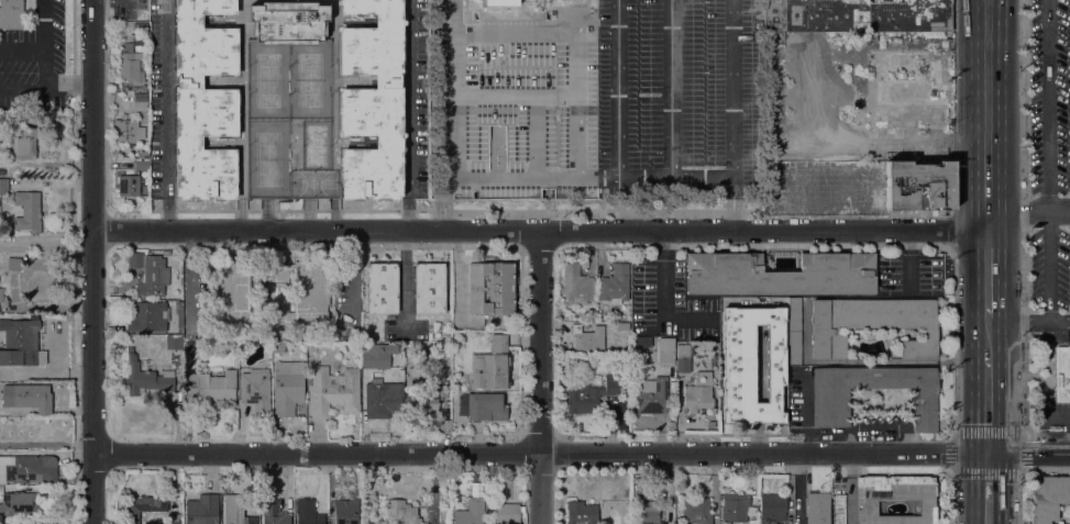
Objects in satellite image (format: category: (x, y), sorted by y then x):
road: (102, 0)
road: (119, 0)
building: (498, 2)
building: (11, 13)
building: (858, 15)
road: (580, 16)
building: (288, 22)
road: (516, 32)
building: (140, 34)
road: (580, 64)
road: (40, 66)
building: (130, 67)
road: (20, 78)
road: (670, 87)
road: (453, 90)
road: (731, 91)
building: (907, 91)
road: (517, 94)
building: (123, 100)
building: (373, 100)
building: (140, 101)
building: (203, 101)
road: (1049, 105)
road: (165, 114)
road: (92, 115)
road: (988, 115)
building: (128, 131)
building: (24, 143)
road: (619, 143)
building: (141, 165)
road: (603, 178)
road: (561, 179)
road: (732, 183)
building: (129, 185)
building: (4, 186)
building: (919, 186)
road: (443, 203)
building: (27, 211)
road: (1019, 212)
road: (1060, 212)
road: (1024, 216)
road: (540, 231)
road: (46, 241)
building: (13, 264)
road: (1049, 266)
building: (151, 274)
road: (457, 274)
building: (779, 274)
road: (988, 276)
road: (188, 277)
building: (615, 285)
building: (576, 287)
building: (302, 288)
building: (383, 288)
building: (430, 288)
building: (492, 288)
road: (664, 288)
building: (1, 294)
building: (232, 296)
building: (591, 314)
building: (279, 315)
building: (147, 316)
road: (1018, 321)
road: (1059, 322)
building: (872, 325)
building: (622, 326)
building: (794, 332)
building: (587, 338)
building: (20, 341)
road: (988, 341)
building: (174, 342)
building: (189, 346)
building: (278, 347)
building: (148, 348)
building: (311, 349)
building: (666, 352)
building: (683, 358)
building: (374, 359)
building: (439, 363)
building: (490, 365)
building: (752, 365)
building: (1062, 374)
road: (92, 377)
building: (145, 377)
road: (539, 377)
building: (213, 386)
building: (287, 387)
building: (256, 390)
building: (334, 391)
building: (589, 394)
building: (652, 395)
building: (31, 397)
building: (424, 398)
building: (783, 398)
building: (383, 399)
building: (697, 399)
building: (483, 406)
road: (989, 406)
building: (830, 412)
building: (446, 426)
road: (1024, 434)
road: (581, 454)
building: (27, 468)
building: (1, 489)
road: (989, 489)
building: (894, 498)
building: (1048, 498)
building: (18, 503)
building: (141, 505)
building: (735, 508)
building: (773, 508)
building: (788, 508)
building: (817, 509)
building: (839, 509)
building: (201, 510)
building: (236, 510)
building: (696, 510)
building: (274, 512)
building: (307, 512)
building: (346, 512)
building: (471, 512)
building: (647, 512)
building: (401, 513)
building: (508, 513)
building: (581, 513)
building: (174, 522)

